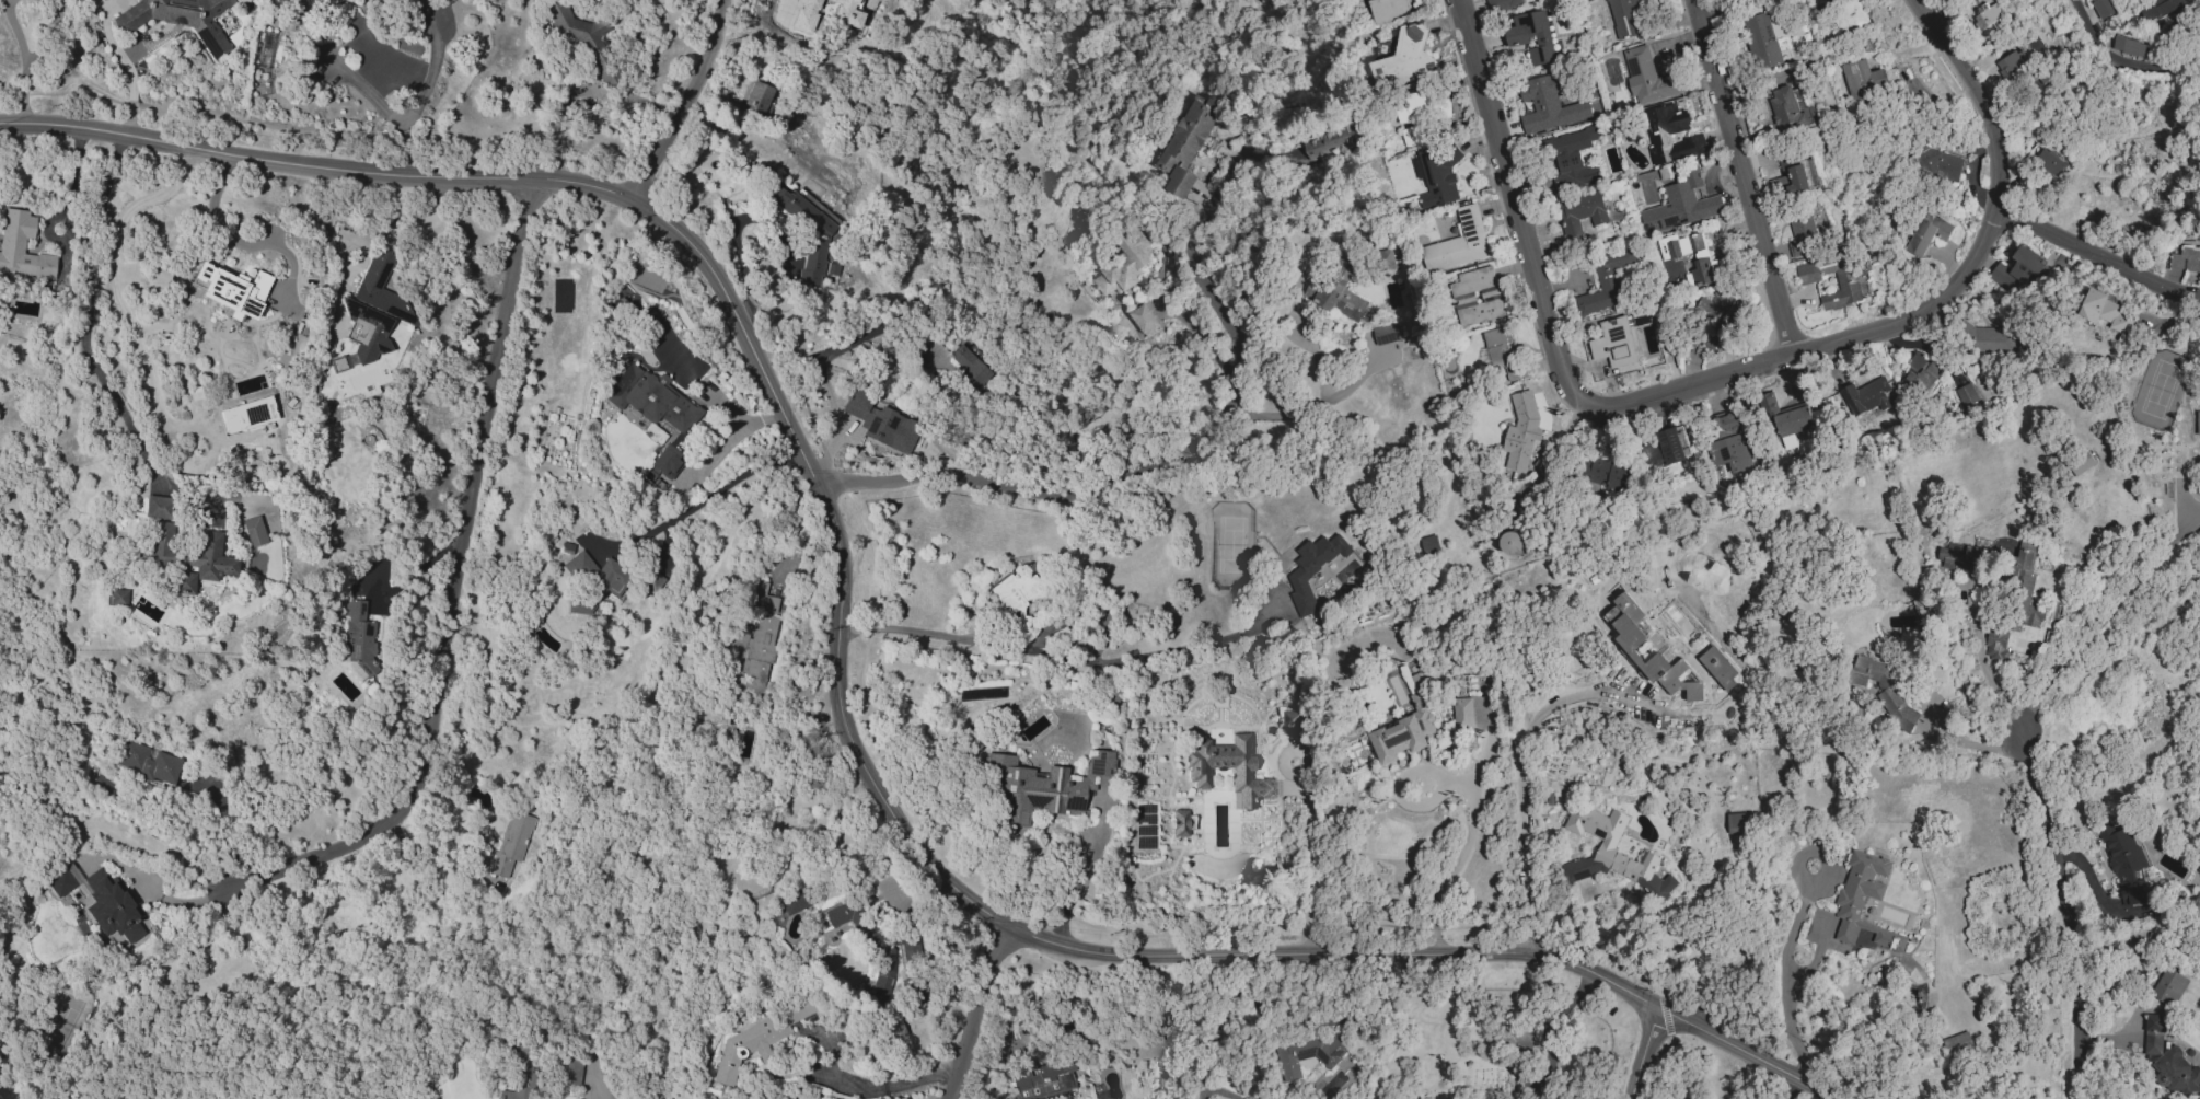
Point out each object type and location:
building: (290, 0)
road: (761, 0)
building: (1502, 4)
road: (1822, 4)
building: (2163, 7)
building: (2103, 8)
building: (1388, 11)
road: (1737, 11)
building: (1987, 13)
building: (845, 14)
building: (804, 15)
building: (1624, 16)
building: (1851, 16)
building: (180, 19)
building: (1827, 31)
building: (1531, 36)
building: (581, 37)
building: (1761, 44)
building: (2127, 46)
road: (24, 59)
building: (1404, 59)
road: (2119, 60)
road: (128, 70)
building: (1647, 78)
building: (1866, 80)
road: (361, 86)
road: (424, 90)
building: (756, 97)
road: (684, 100)
road: (660, 101)
building: (1551, 102)
building: (1787, 109)
road: (555, 124)
building: (1659, 134)
building: (1412, 136)
building: (1332, 142)
building: (1190, 143)
building: (1572, 160)
building: (1935, 164)
building: (1437, 175)
road: (1744, 175)
building: (1795, 176)
building: (1680, 205)
road: (65, 206)
building: (1580, 213)
road: (409, 215)
building: (1926, 234)
road: (238, 242)
building: (1459, 243)
building: (21, 246)
road: (1004, 247)
building: (1689, 254)
building: (2186, 258)
building: (1386, 259)
road: (2097, 259)
road: (113, 266)
building: (1125, 266)
building: (2019, 271)
building: (1606, 282)
building: (1850, 282)
building: (232, 290)
building: (1340, 291)
building: (1475, 297)
building: (372, 309)
building: (2106, 313)
building: (1715, 316)
building: (1145, 321)
building: (1386, 334)
building: (1989, 338)
road: (1206, 342)
building: (1613, 343)
building: (1497, 348)
road: (88, 358)
building: (336, 363)
road: (821, 365)
building: (970, 368)
building: (1922, 373)
road: (1725, 374)
building: (1866, 396)
building: (1966, 397)
road: (1322, 408)
building: (652, 409)
building: (1792, 419)
building: (879, 421)
building: (2198, 424)
building: (1521, 431)
building: (1730, 444)
building: (1668, 448)
building: (1605, 474)
road: (1127, 479)
building: (155, 507)
building: (253, 531)
building: (2199, 531)
building: (1512, 543)
building: (155, 544)
building: (1429, 544)
building: (1959, 556)
building: (201, 563)
building: (1313, 569)
building: (650, 580)
building: (591, 581)
building: (2024, 589)
road: (455, 590)
building: (762, 595)
building: (116, 597)
building: (1017, 597)
road: (2103, 620)
building: (359, 635)
building: (1631, 644)
building: (1996, 644)
building: (757, 648)
road: (1049, 660)
road: (1980, 663)
building: (1718, 668)
road: (837, 671)
building: (1885, 691)
building: (1462, 714)
building: (1293, 719)
building: (1404, 732)
road: (1973, 743)
road: (1518, 753)
road: (1282, 759)
building: (147, 763)
building: (1197, 773)
building: (1041, 785)
building: (1178, 822)
building: (1736, 823)
road: (228, 825)
road: (109, 842)
building: (511, 842)
road: (429, 851)
road: (1462, 851)
building: (1611, 853)
road: (1310, 863)
building: (2124, 863)
building: (59, 881)
road: (1079, 883)
road: (150, 889)
building: (1864, 901)
building: (788, 904)
building: (112, 906)
road: (2064, 914)
road: (2135, 939)
building: (868, 944)
road: (1786, 982)
building: (2169, 987)
road: (973, 1013)
building: (893, 1030)
building: (756, 1038)
building: (1521, 1038)
building: (1957, 1044)
building: (1308, 1054)
road: (1642, 1054)
building: (2168, 1058)
building: (568, 1068)
building: (519, 1074)
building: (1044, 1080)
road: (15, 1085)
road: (891, 1085)
road: (1790, 1089)

